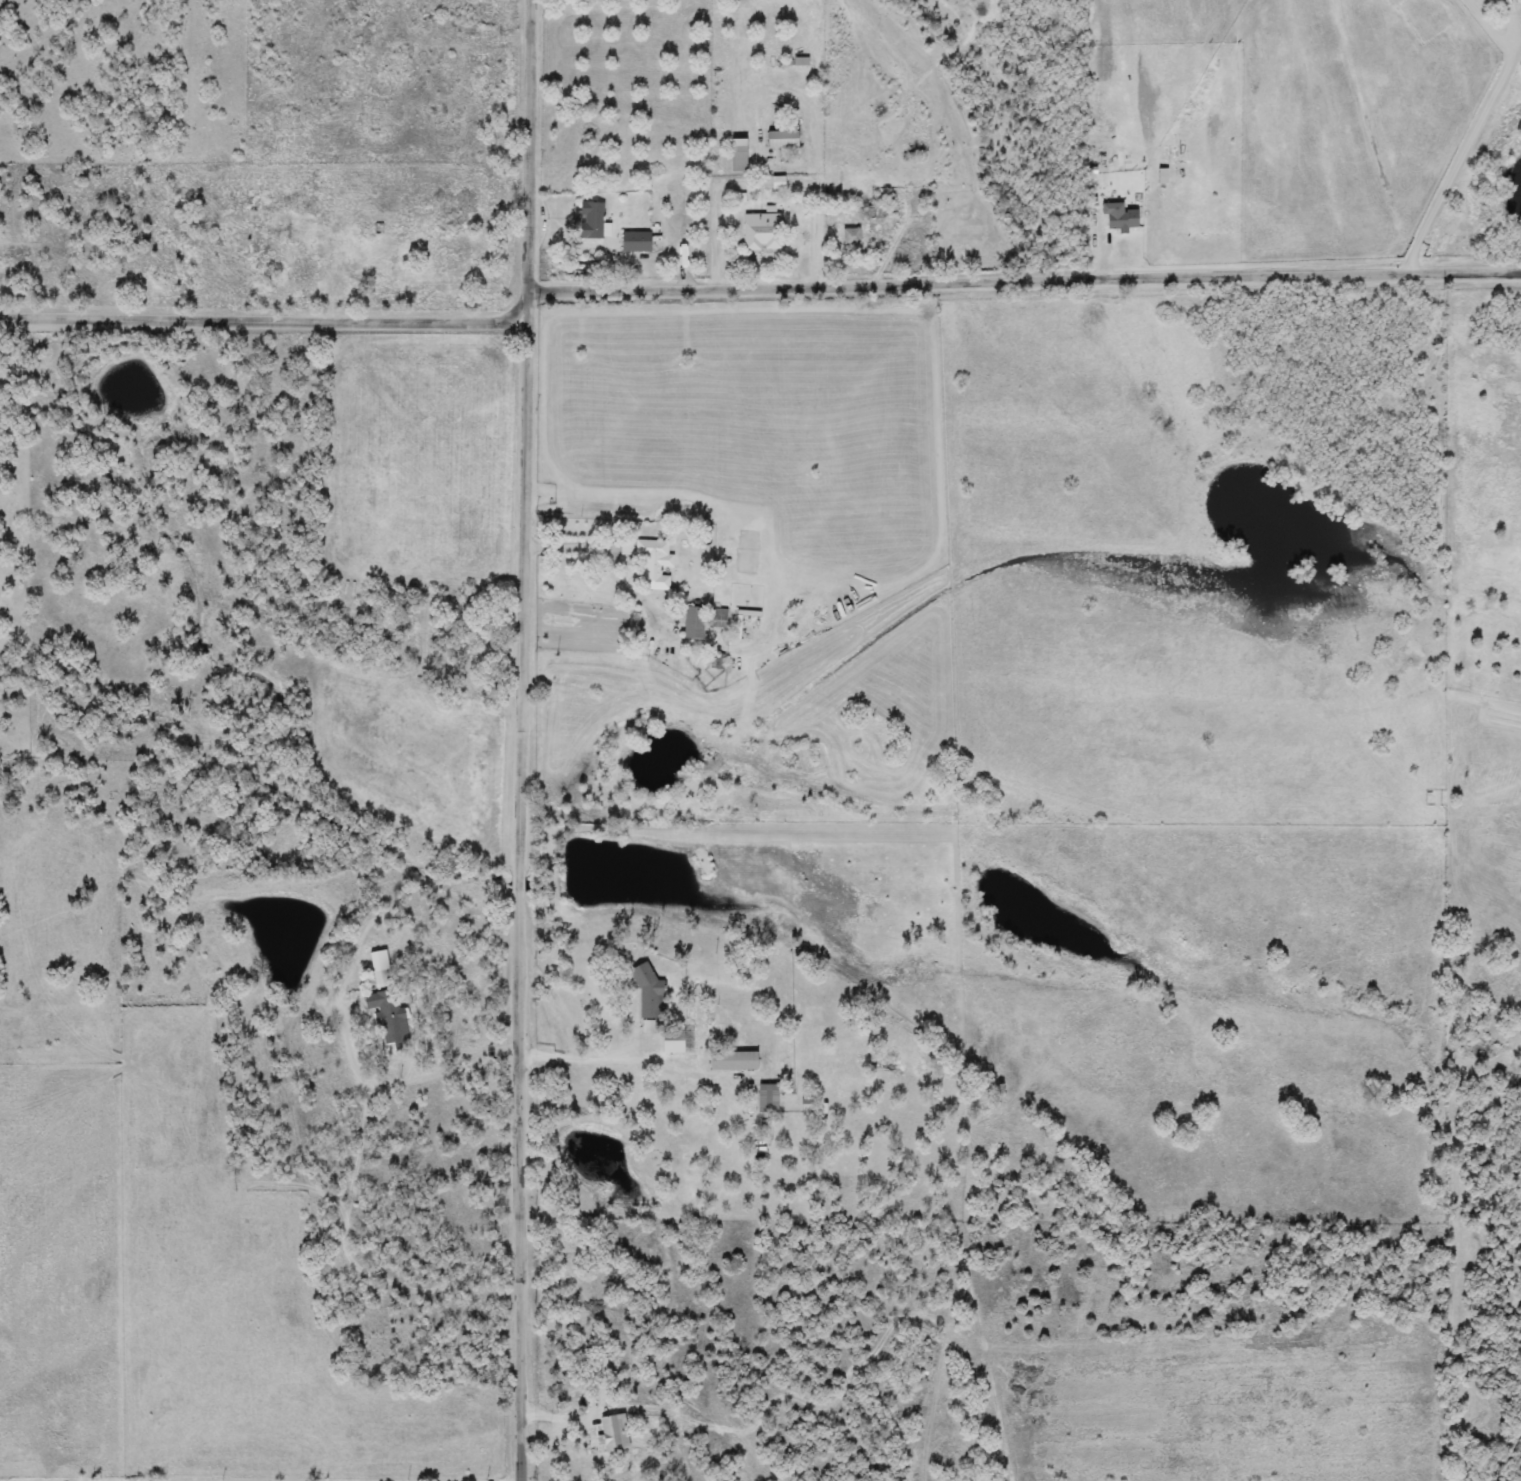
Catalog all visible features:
road: (1472, 134)
building: (781, 139)
building: (736, 159)
road: (1210, 187)
building: (876, 211)
building: (1120, 220)
building: (590, 221)
building: (761, 236)
building: (850, 237)
building: (635, 243)
road: (1025, 279)
road: (265, 321)
building: (651, 552)
road: (611, 557)
building: (718, 618)
building: (692, 623)
road: (522, 740)
building: (380, 970)
building: (648, 996)
building: (388, 1015)
building: (676, 1042)
road: (621, 1050)
building: (736, 1057)
road: (408, 1076)
building: (765, 1099)

